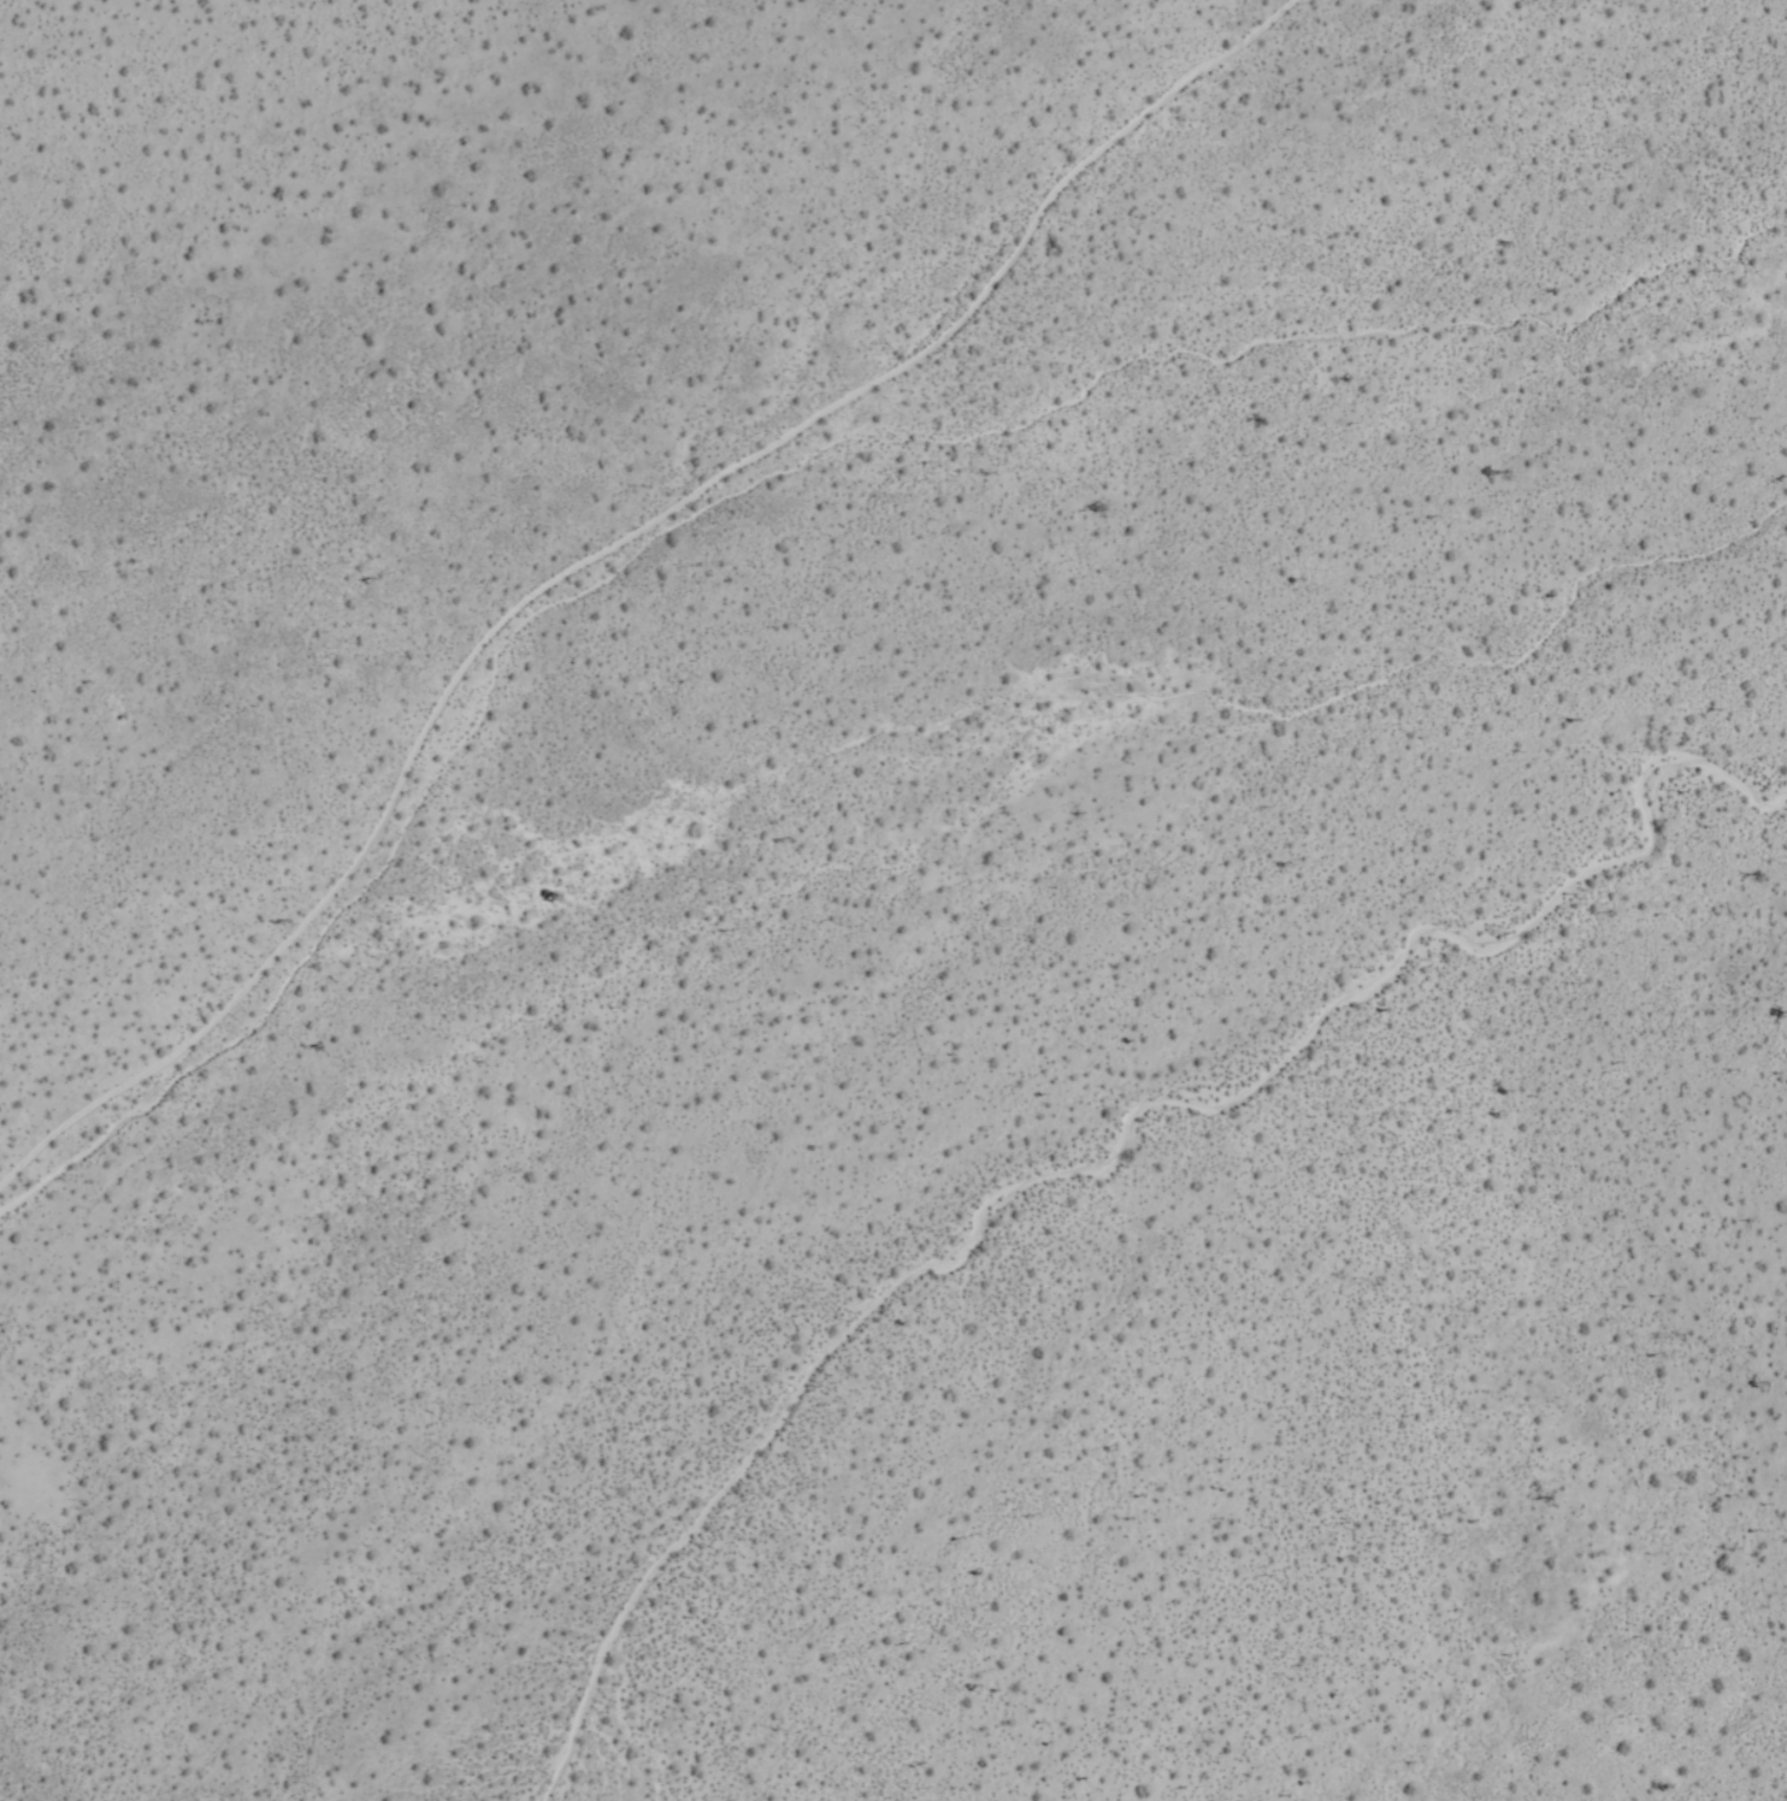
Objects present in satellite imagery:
road: (594, 548)

